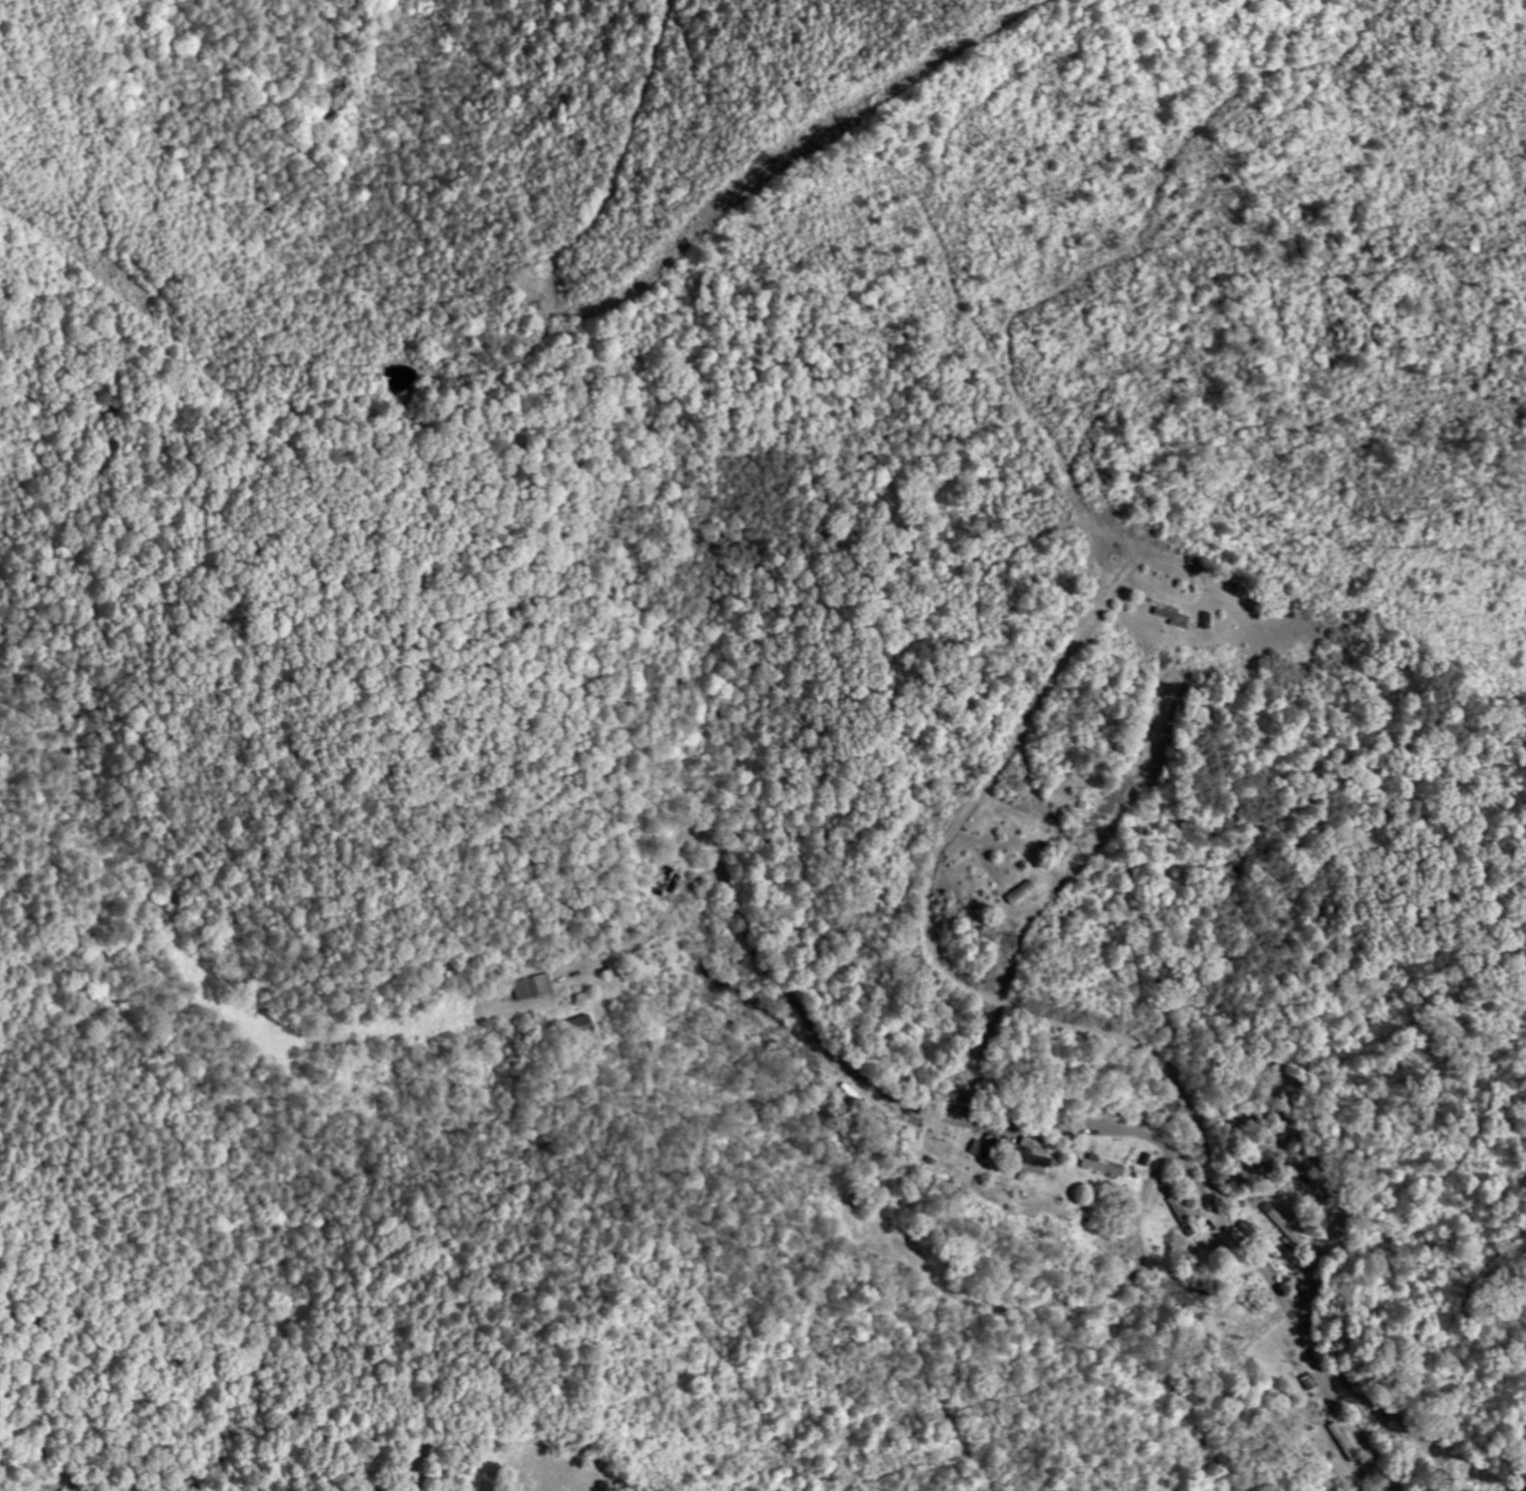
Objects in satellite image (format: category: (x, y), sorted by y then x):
road: (927, 939)
building: (533, 988)
road: (1081, 1125)
building: (1092, 1165)
building: (1036, 1166)
building: (1182, 1218)
building: (1284, 1228)
building: (1248, 1230)

